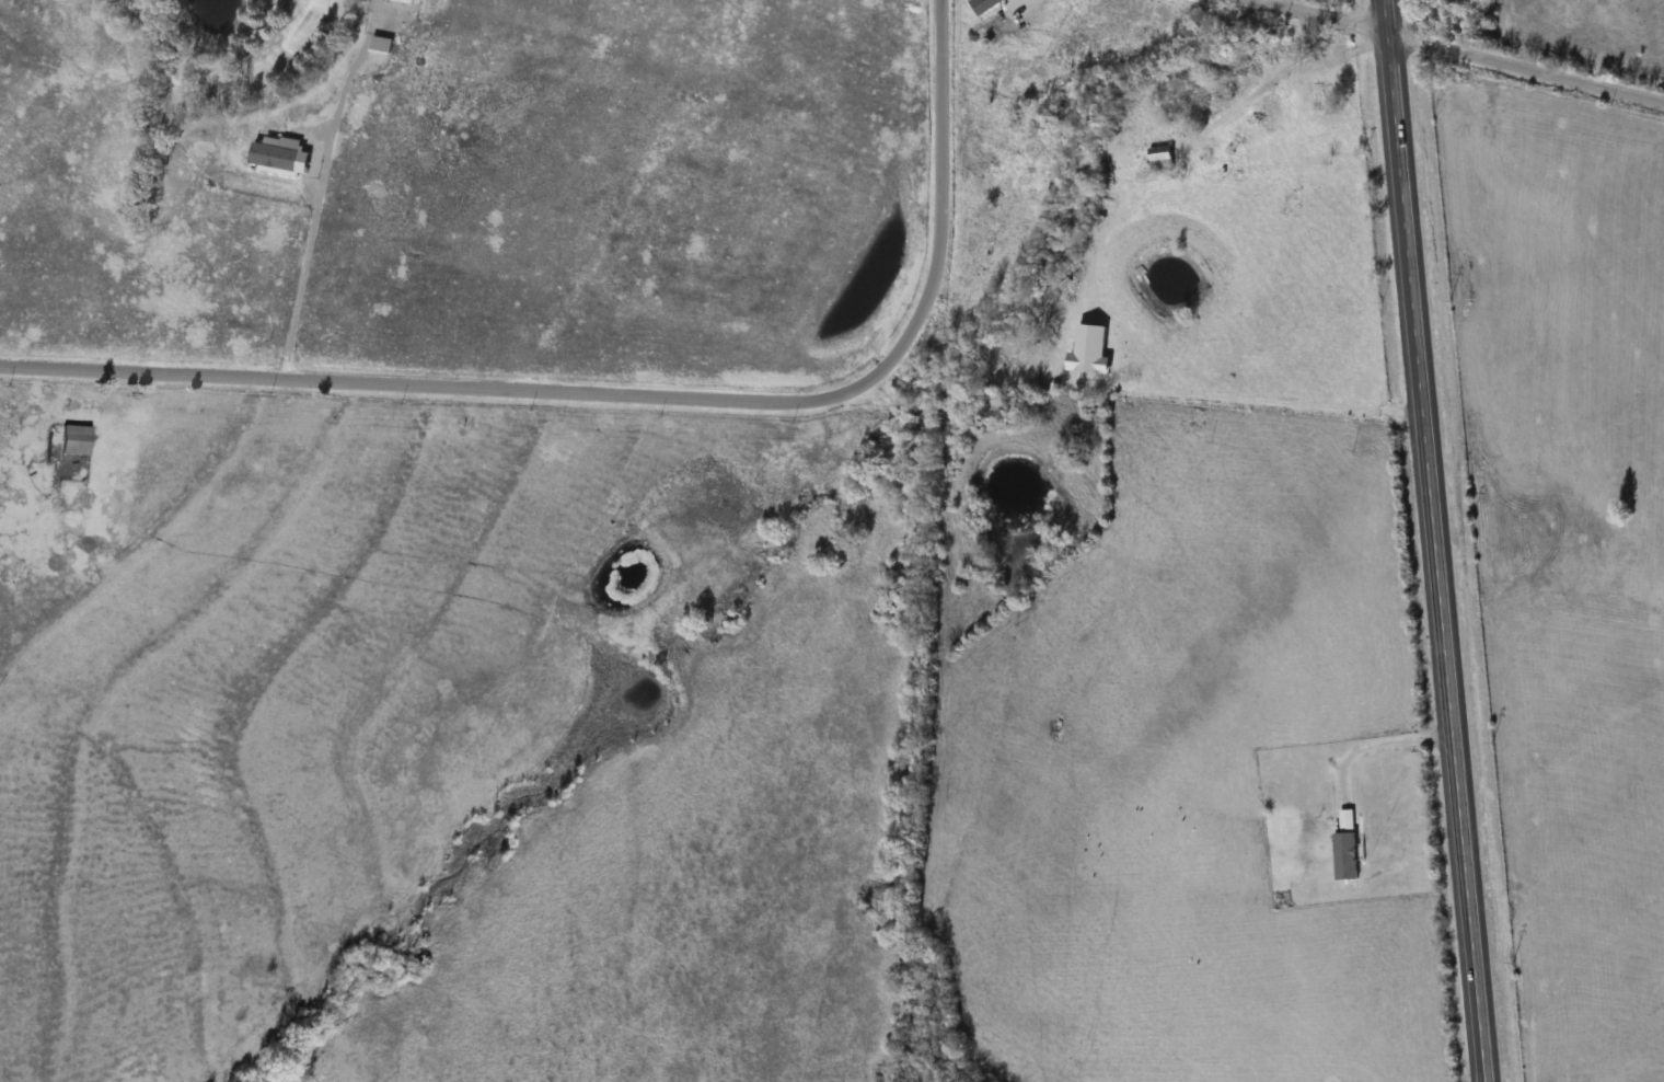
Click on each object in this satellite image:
building: (1321, 45)
road: (1453, 53)
building: (1324, 99)
building: (1269, 114)
building: (1162, 159)
road: (305, 265)
building: (1091, 348)
road: (636, 396)
road: (1268, 398)
building: (76, 438)
road: (1432, 541)
road: (1378, 740)
building: (1347, 819)
building: (1345, 855)

